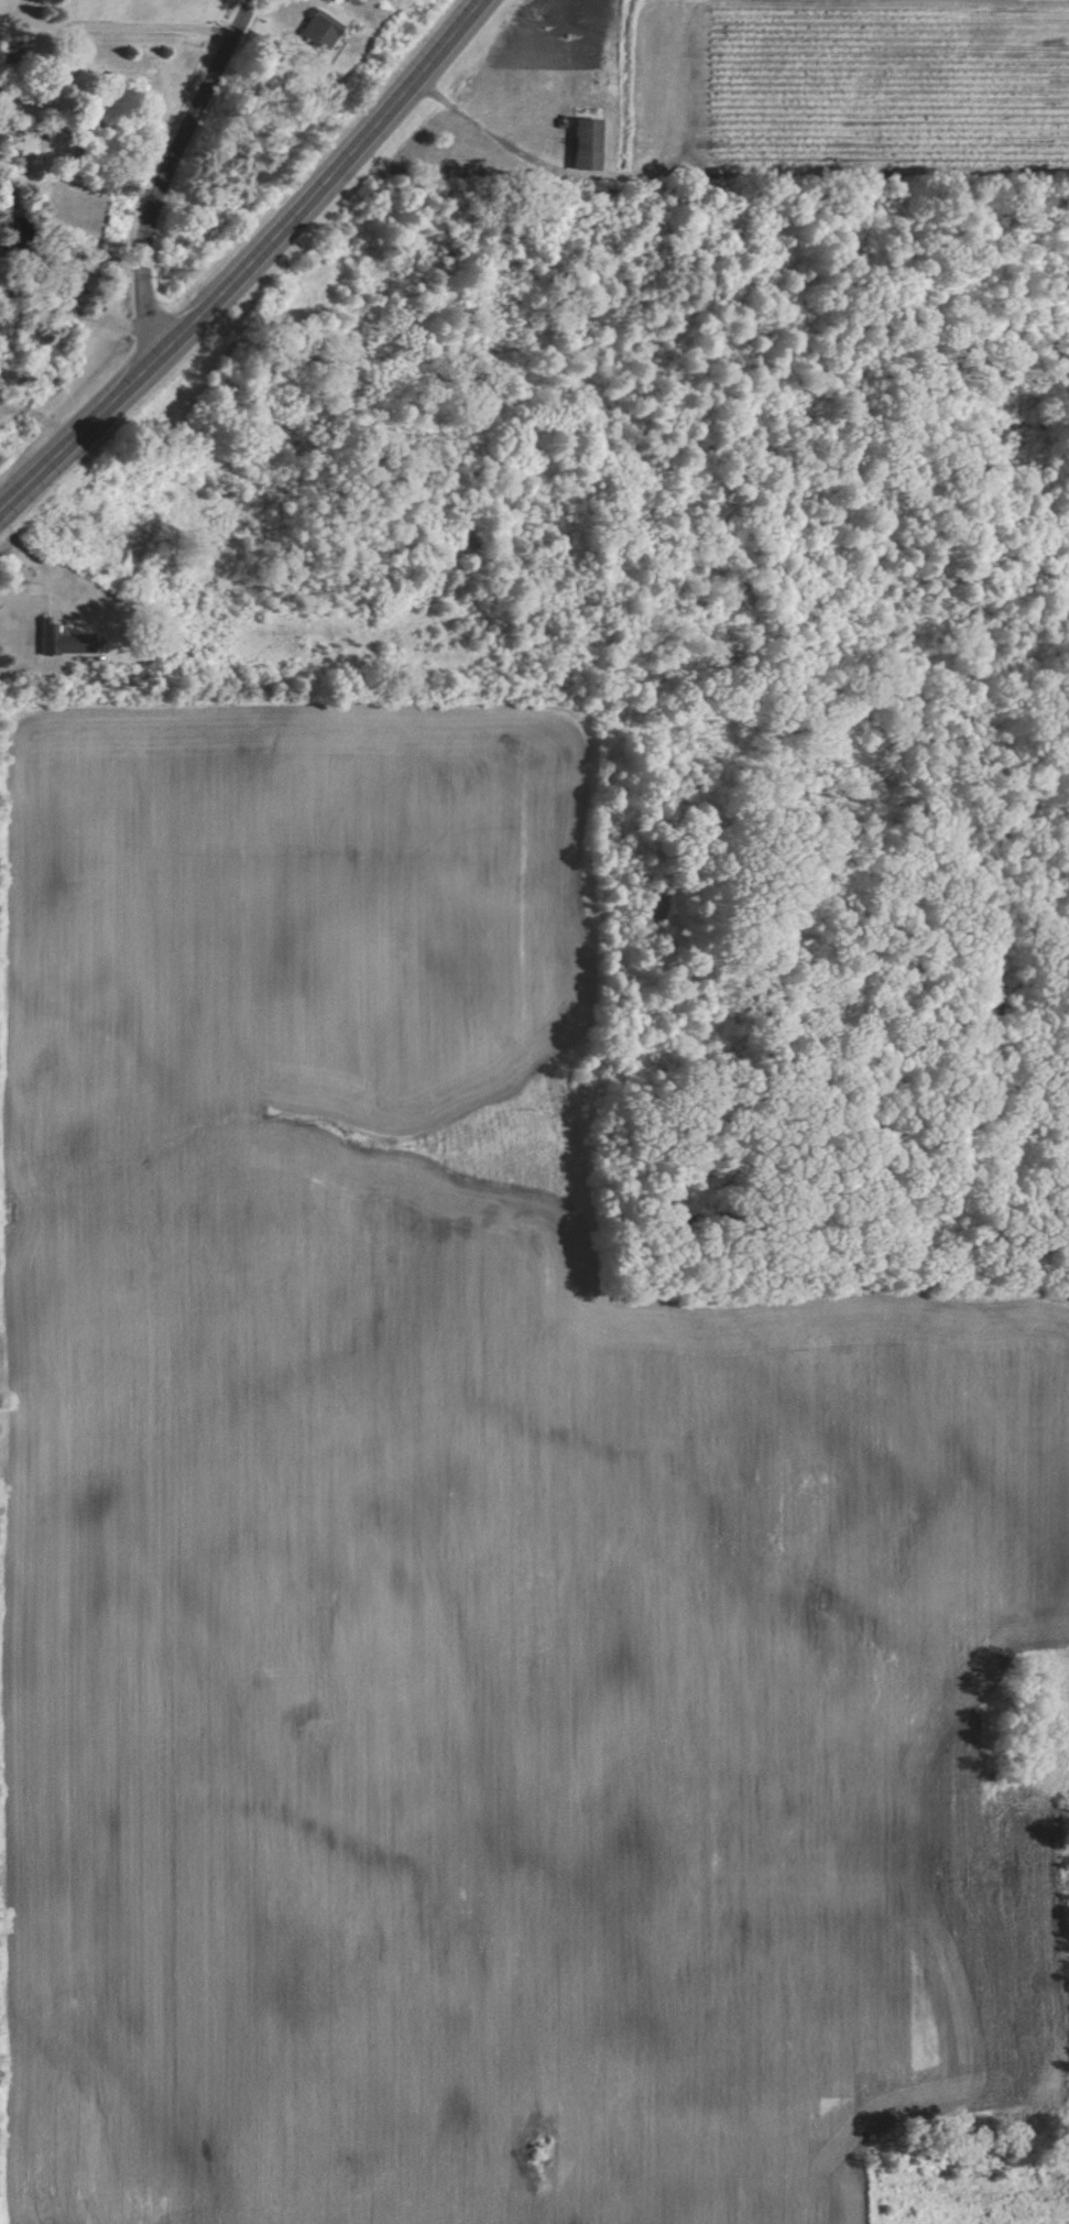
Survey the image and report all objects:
road: (128, 25)
building: (318, 31)
building: (582, 145)
road: (2, 148)
building: (26, 151)
road: (172, 171)
road: (251, 265)
road: (75, 325)
road: (37, 429)
building: (79, 637)

